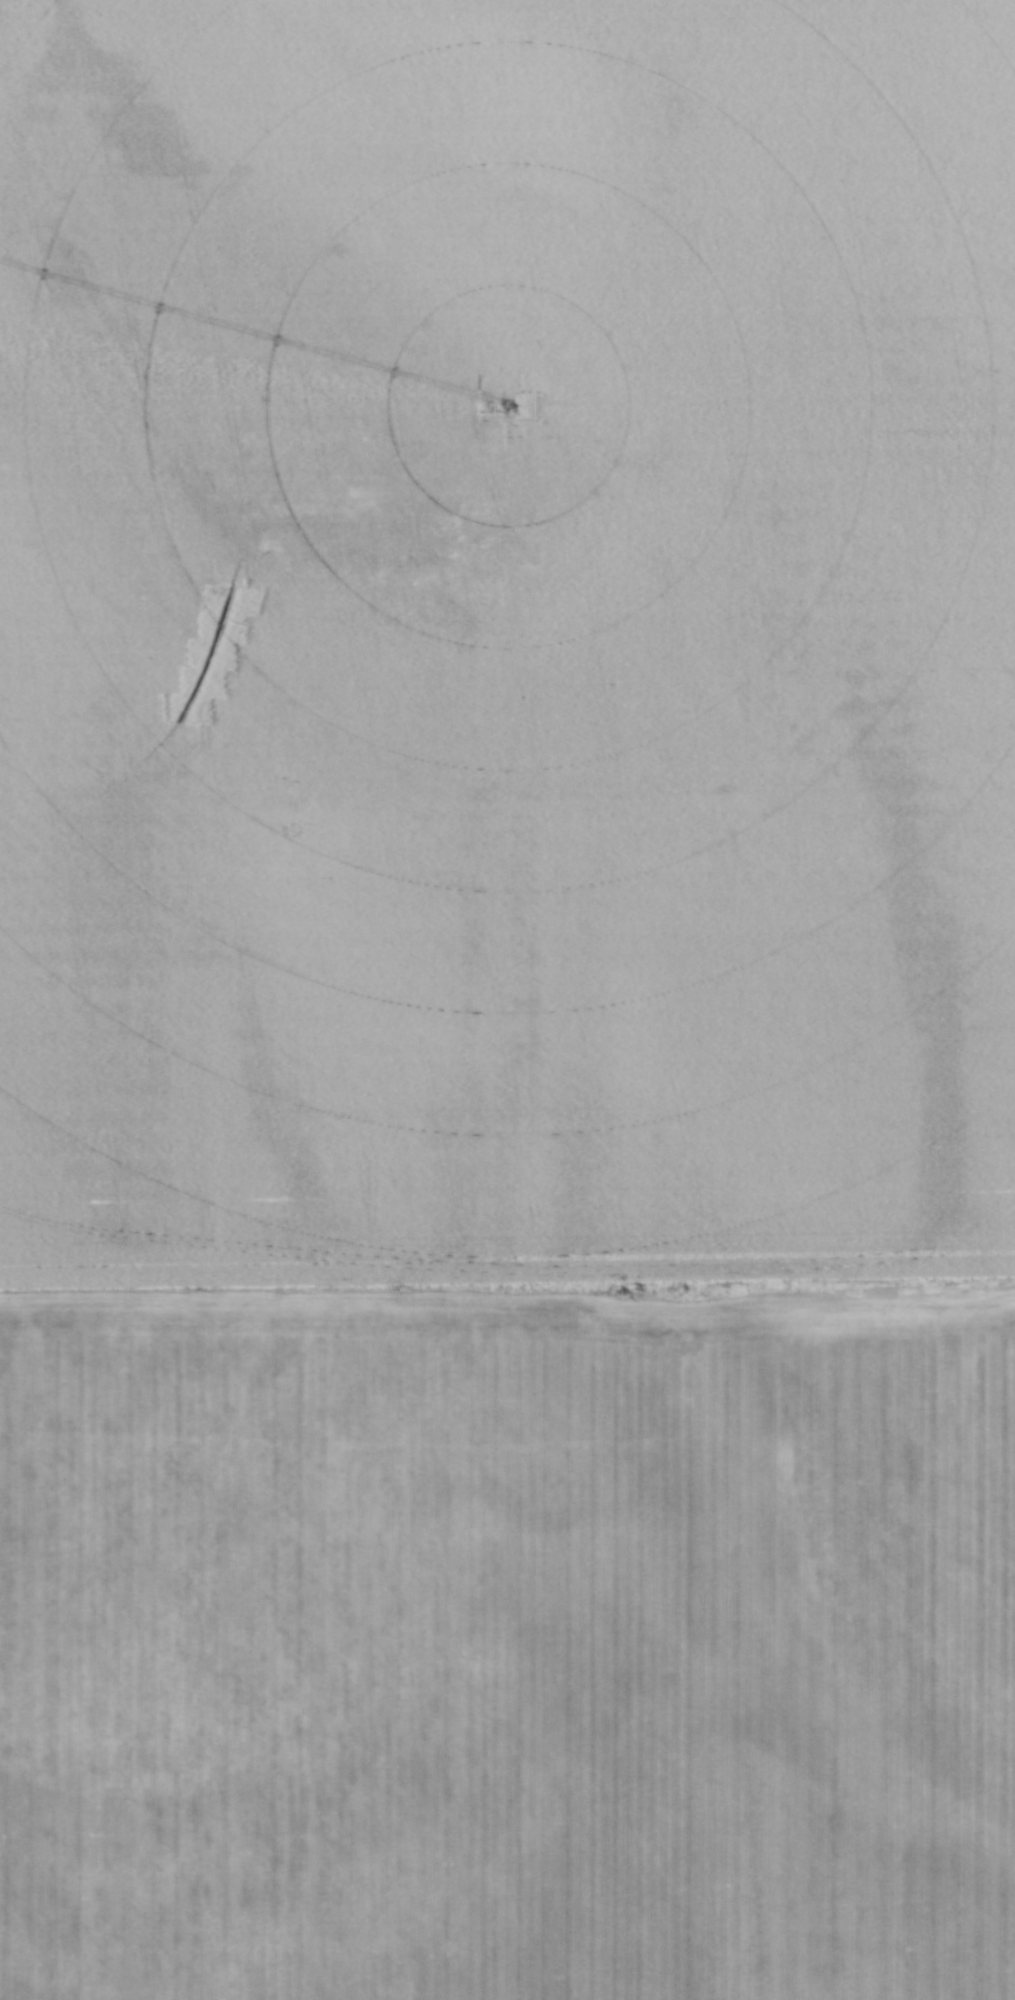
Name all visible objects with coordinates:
crop: (507, 1000)

